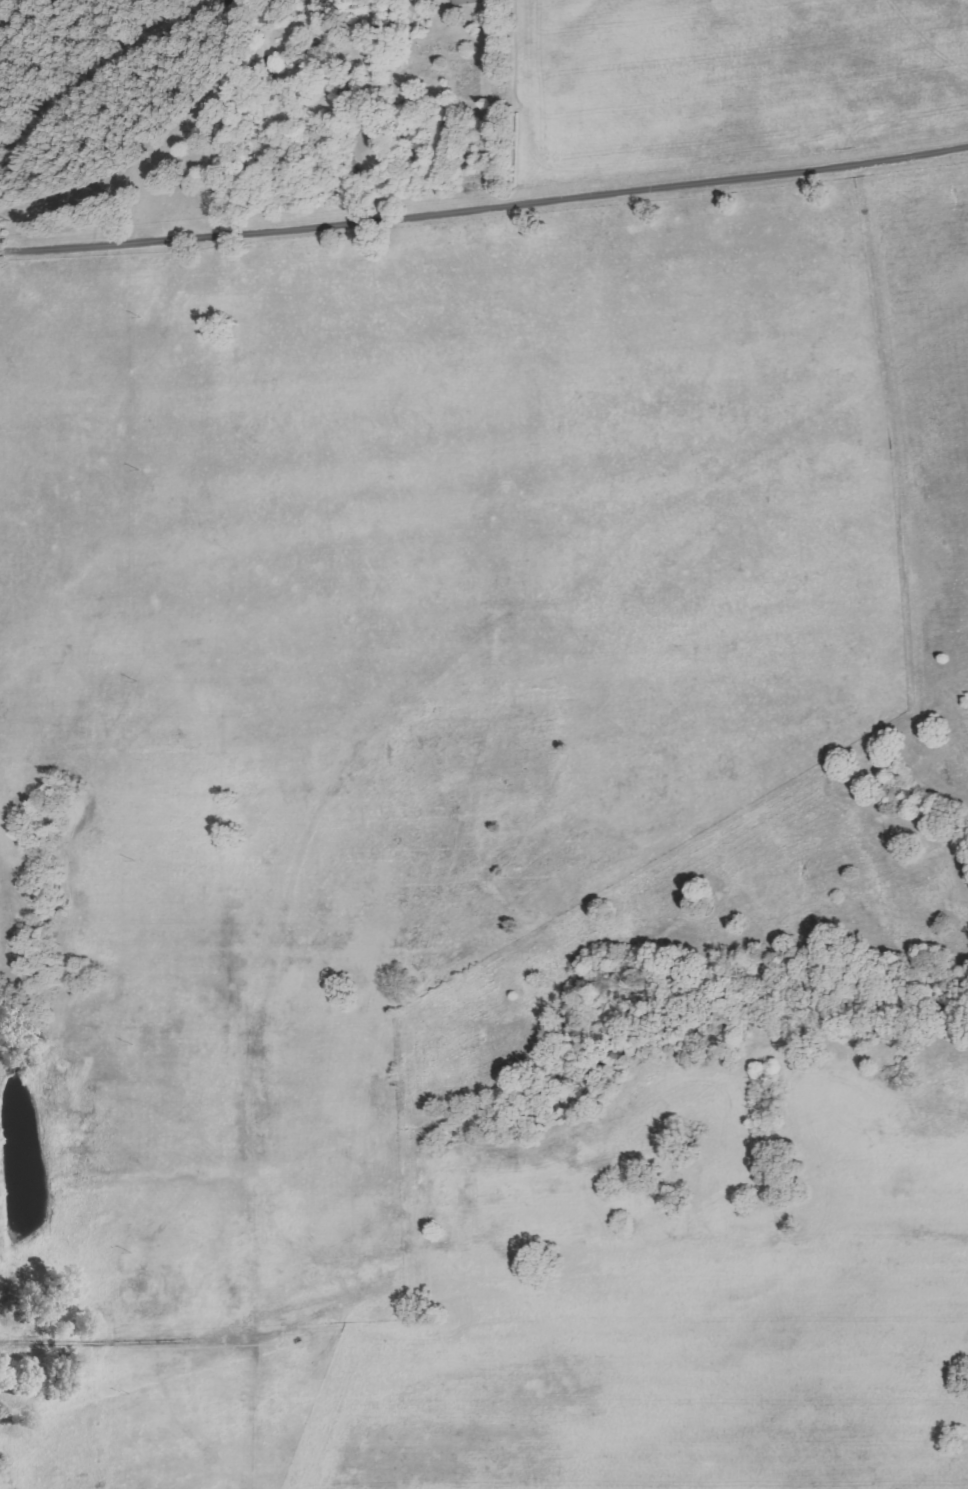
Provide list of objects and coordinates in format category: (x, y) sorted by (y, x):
building: (466, 2)
road: (98, 69)
road: (484, 207)

